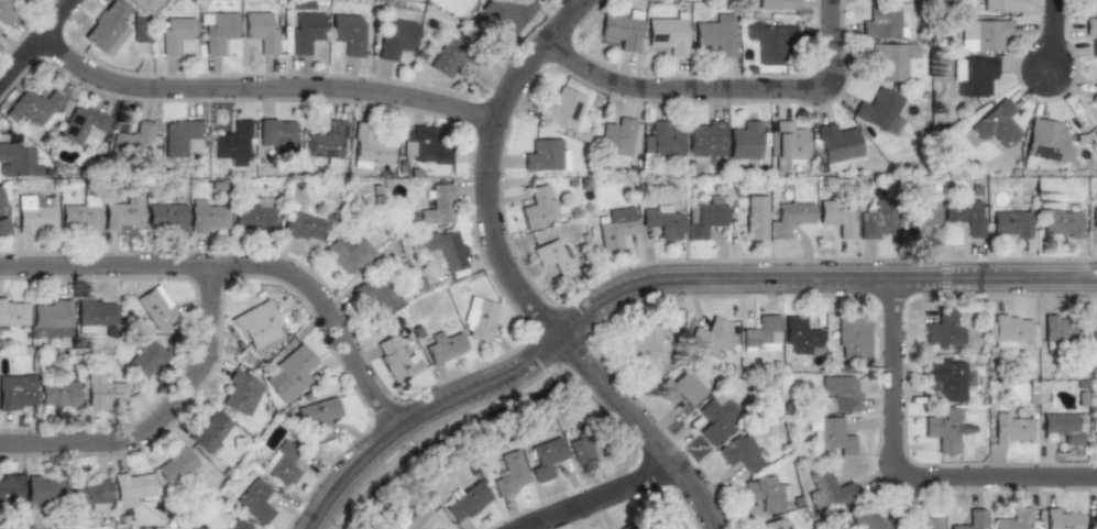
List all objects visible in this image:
building: (873, 0)
building: (777, 4)
building: (146, 5)
building: (1000, 5)
building: (7, 11)
building: (506, 13)
building: (881, 23)
building: (1090, 23)
building: (108, 29)
building: (0, 31)
building: (622, 31)
building: (218, 32)
building: (307, 32)
building: (176, 33)
building: (261, 33)
building: (670, 34)
building: (717, 34)
building: (983, 34)
building: (349, 36)
building: (395, 38)
road: (1058, 38)
building: (770, 40)
road: (36, 42)
building: (1094, 51)
building: (447, 58)
building: (890, 59)
building: (972, 76)
road: (263, 91)
road: (731, 93)
building: (1094, 93)
building: (34, 108)
building: (879, 109)
building: (563, 111)
building: (83, 123)
building: (995, 124)
building: (1096, 124)
building: (278, 133)
building: (178, 135)
building: (705, 136)
building: (617, 139)
building: (132, 140)
building: (746, 140)
building: (790, 140)
building: (665, 141)
building: (233, 143)
building: (1043, 143)
building: (326, 144)
building: (836, 144)
building: (424, 147)
building: (368, 148)
building: (545, 156)
building: (19, 159)
building: (439, 205)
building: (538, 207)
building: (36, 213)
building: (81, 214)
building: (124, 214)
building: (167, 214)
building: (965, 214)
building: (209, 216)
building: (837, 216)
building: (255, 217)
building: (705, 217)
building: (756, 217)
building: (918, 217)
building: (789, 218)
building: (1094, 218)
building: (2, 219)
building: (661, 220)
building: (876, 222)
building: (1010, 223)
building: (1060, 223)
building: (301, 227)
building: (616, 229)
building: (446, 246)
building: (347, 253)
building: (553, 256)
road: (239, 263)
road: (656, 277)
road: (515, 283)
building: (377, 293)
building: (156, 308)
building: (14, 312)
building: (95, 315)
building: (52, 318)
building: (479, 318)
building: (259, 324)
building: (1060, 328)
building: (1095, 328)
building: (1007, 329)
building: (942, 330)
building: (760, 333)
building: (799, 333)
building: (710, 335)
building: (849, 337)
building: (643, 344)
building: (443, 346)
building: (145, 359)
building: (394, 360)
building: (289, 373)
building: (947, 379)
building: (680, 388)
building: (105, 390)
building: (841, 390)
building: (18, 392)
building: (241, 393)
building: (58, 394)
building: (319, 415)
road: (164, 418)
building: (713, 419)
building: (1062, 426)
building: (1095, 426)
building: (1011, 428)
building: (943, 430)
building: (209, 431)
building: (832, 434)
building: (580, 449)
building: (739, 451)
building: (547, 459)
building: (282, 463)
building: (175, 464)
building: (508, 472)
road: (898, 472)
building: (133, 485)
building: (10, 488)
building: (44, 489)
building: (826, 489)
building: (88, 492)
building: (764, 492)
road: (594, 497)
building: (256, 500)
building: (467, 502)
building: (1095, 518)
building: (416, 519)
building: (667, 519)
building: (1062, 519)
building: (1013, 520)
building: (868, 521)
building: (931, 521)
building: (968, 521)
building: (239, 525)
building: (770, 525)

